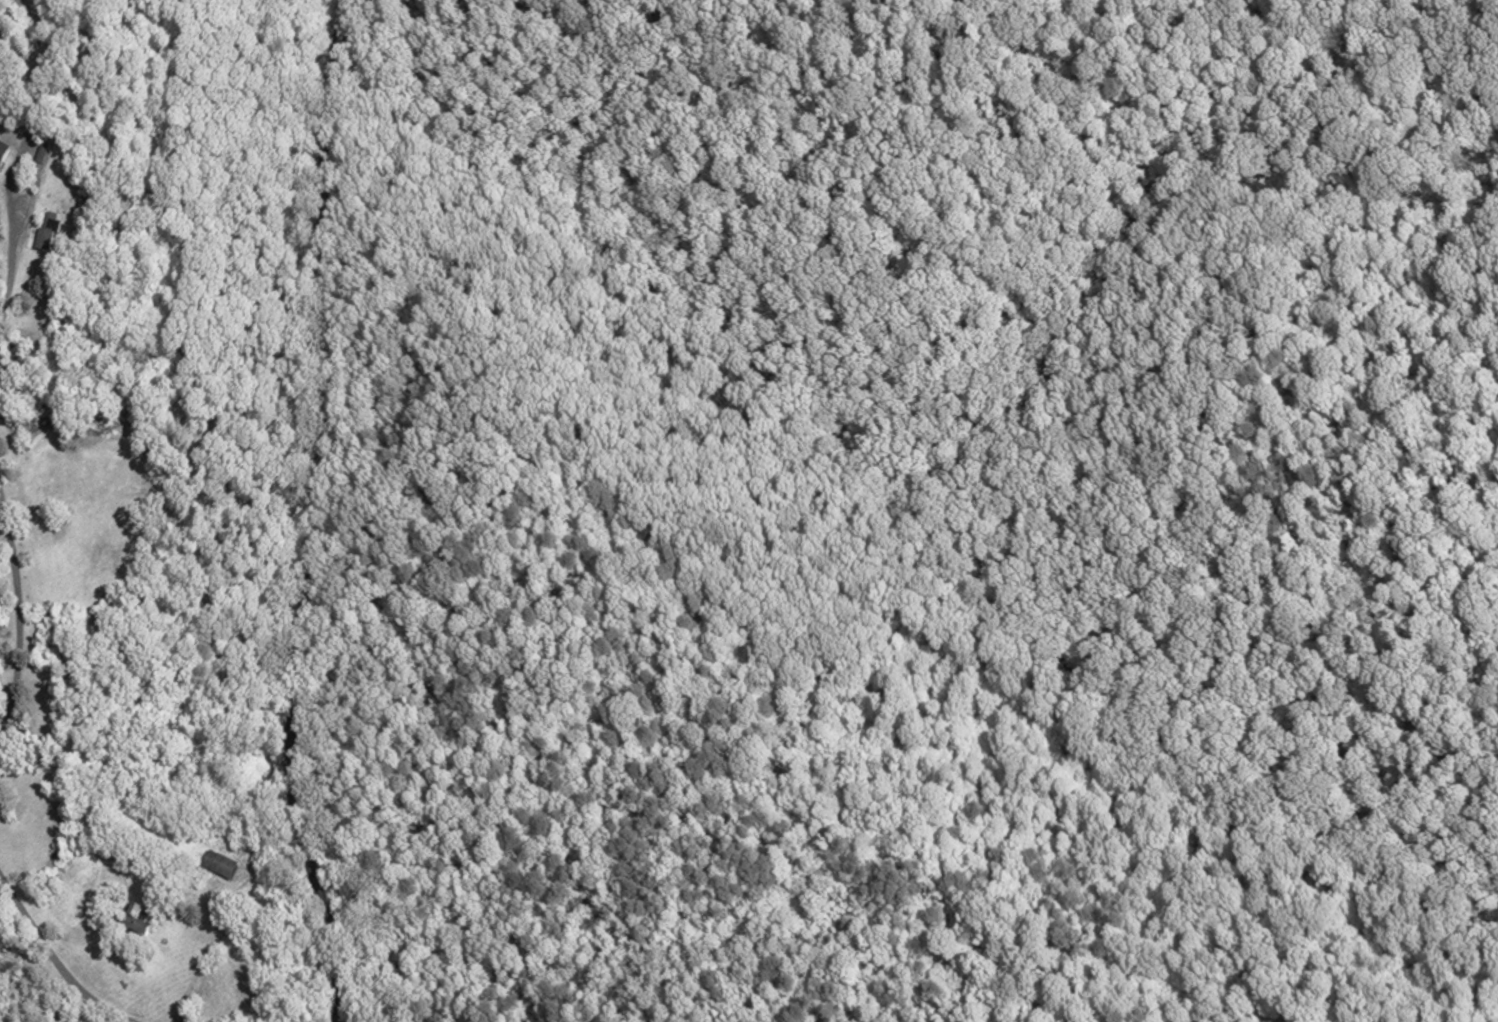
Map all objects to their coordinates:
building: (3, 153)
road: (12, 177)
building: (45, 234)
building: (36, 238)
road: (319, 512)
road: (18, 624)
building: (220, 871)
building: (134, 925)
road: (54, 958)

